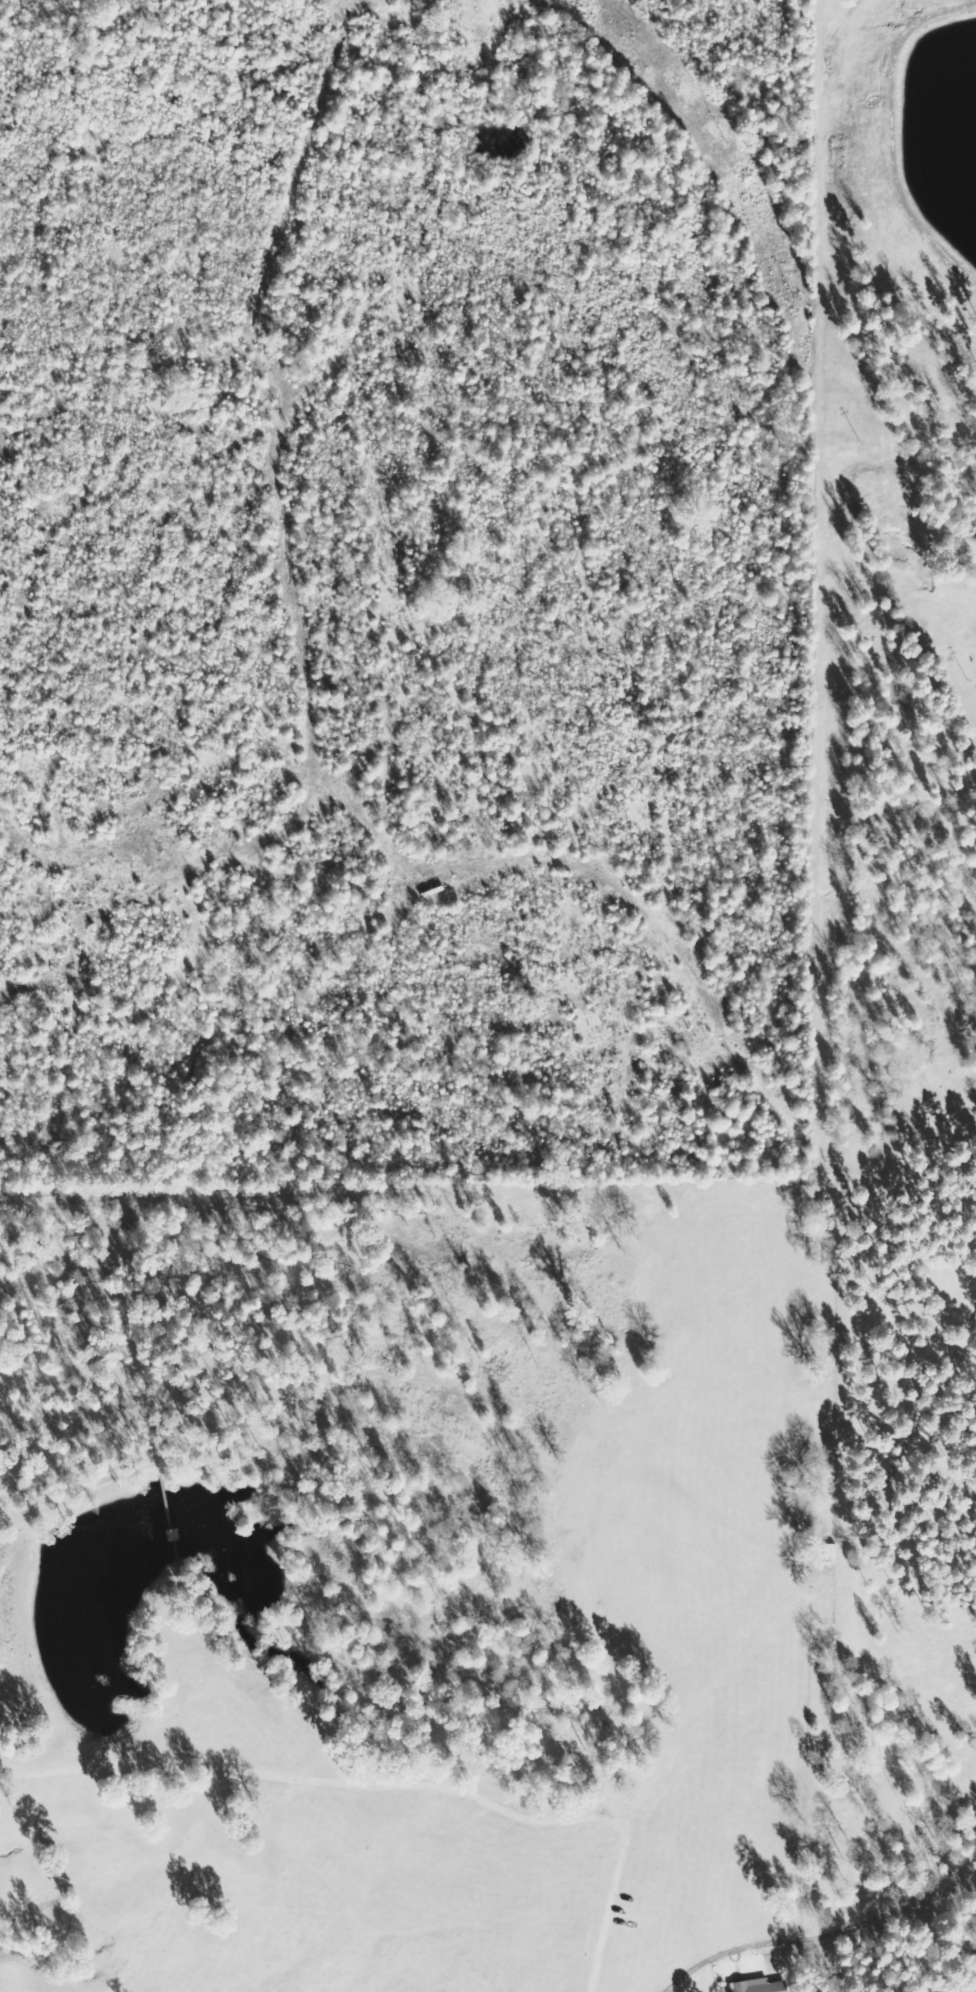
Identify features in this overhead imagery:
road: (228, 1760)
road: (625, 1824)
road: (707, 1959)
building: (757, 1986)

